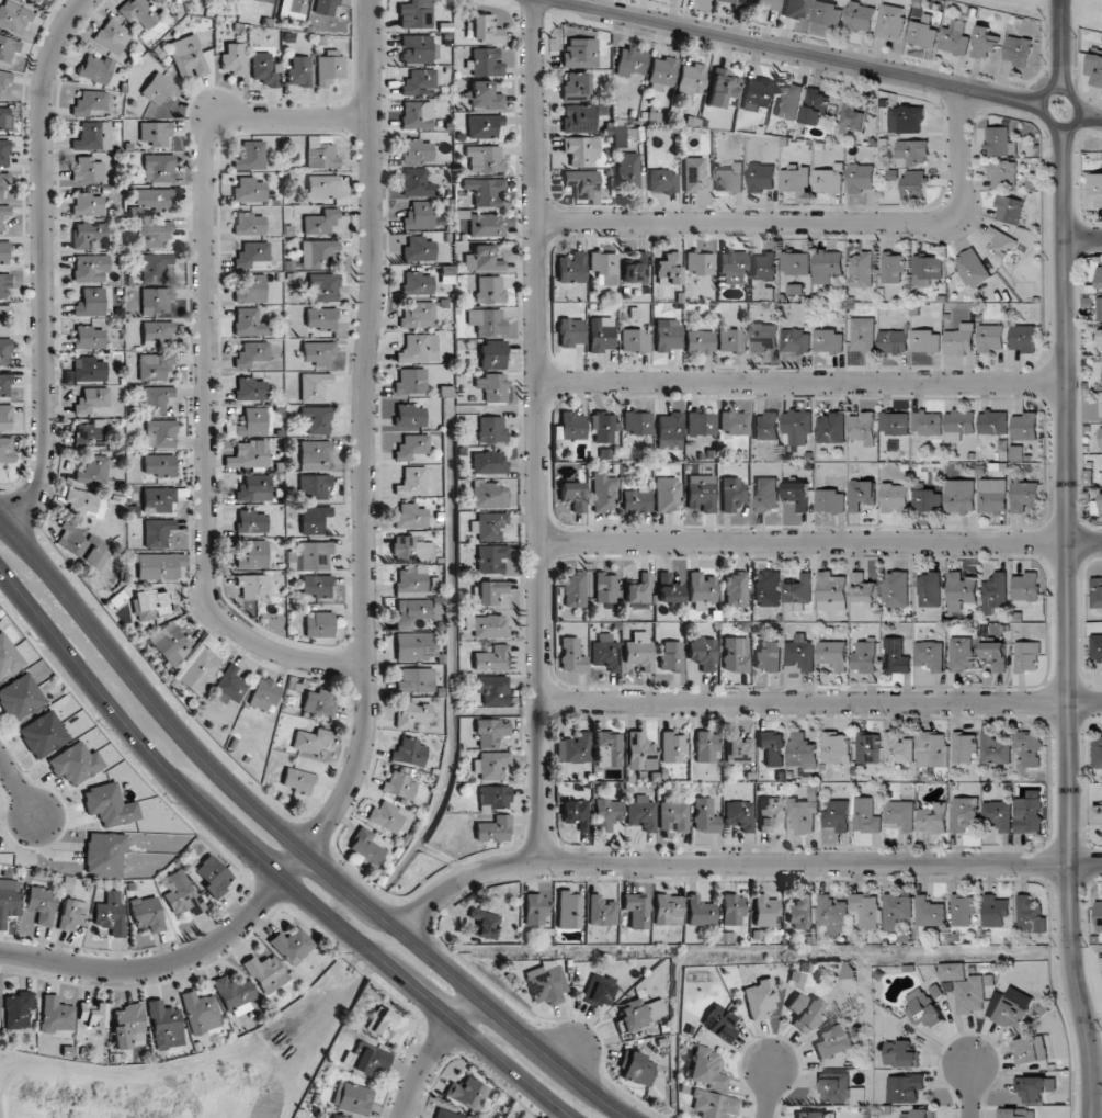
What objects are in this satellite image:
building: (151, 0)
building: (39, 1)
building: (265, 1)
building: (729, 1)
building: (765, 4)
building: (293, 5)
building: (325, 7)
building: (796, 9)
building: (138, 13)
building: (414, 14)
building: (827, 14)
building: (13, 16)
building: (861, 18)
building: (891, 22)
building: (485, 30)
building: (110, 36)
building: (954, 38)
building: (985, 42)
building: (8, 48)
building: (417, 48)
building: (579, 53)
road: (805, 55)
building: (188, 57)
building: (234, 58)
building: (629, 61)
building: (486, 63)
building: (95, 68)
building: (329, 68)
building: (264, 70)
building: (1095, 70)
building: (299, 71)
building: (661, 74)
building: (4, 78)
building: (691, 79)
building: (418, 81)
building: (576, 86)
building: (722, 87)
building: (159, 89)
building: (756, 93)
building: (484, 95)
building: (788, 101)
building: (90, 104)
building: (815, 106)
road: (1081, 110)
building: (416, 114)
building: (852, 117)
building: (578, 118)
building: (4, 120)
building: (907, 120)
building: (482, 126)
building: (155, 133)
building: (93, 136)
building: (617, 136)
building: (1001, 142)
building: (417, 150)
building: (580, 150)
building: (3, 153)
building: (320, 153)
building: (912, 153)
building: (250, 156)
building: (484, 159)
building: (158, 167)
building: (627, 169)
building: (88, 170)
building: (693, 173)
building: (1003, 173)
building: (861, 177)
building: (761, 178)
building: (729, 179)
building: (829, 180)
building: (662, 181)
building: (795, 181)
building: (3, 182)
building: (416, 182)
building: (581, 184)
building: (914, 184)
building: (322, 187)
building: (1095, 189)
building: (248, 190)
building: (484, 191)
building: (154, 199)
building: (87, 204)
building: (1009, 210)
building: (3, 213)
building: (419, 215)
building: (320, 223)
road: (809, 223)
building: (249, 224)
building: (485, 225)
building: (87, 234)
building: (154, 234)
road: (1083, 239)
building: (1001, 245)
building: (419, 249)
building: (3, 251)
building: (318, 253)
building: (252, 256)
building: (481, 259)
building: (796, 262)
road: (43, 263)
building: (698, 263)
building: (828, 266)
building: (157, 267)
building: (603, 267)
building: (731, 267)
building: (763, 267)
building: (894, 267)
building: (90, 268)
building: (570, 268)
building: (973, 268)
building: (668, 269)
building: (862, 269)
building: (635, 270)
building: (928, 270)
building: (1100, 276)
building: (418, 283)
building: (4, 286)
building: (250, 287)
building: (322, 287)
building: (489, 290)
building: (155, 301)
building: (90, 302)
building: (1100, 308)
building: (4, 314)
building: (417, 315)
building: (320, 318)
building: (486, 321)
building: (249, 323)
building: (156, 331)
building: (570, 332)
building: (601, 334)
building: (863, 335)
building: (88, 337)
building: (764, 337)
building: (1101, 337)
building: (990, 338)
building: (1023, 338)
building: (666, 339)
building: (634, 340)
building: (731, 340)
building: (795, 340)
building: (698, 341)
building: (829, 341)
building: (893, 341)
building: (925, 341)
building: (958, 341)
building: (418, 348)
building: (4, 352)
building: (318, 353)
building: (252, 354)
building: (491, 354)
building: (155, 366)
building: (88, 369)
road: (206, 371)
building: (410, 381)
road: (802, 383)
building: (4, 385)
building: (314, 386)
building: (491, 386)
building: (250, 388)
building: (446, 391)
building: (91, 399)
building: (156, 399)
building: (1101, 405)
building: (409, 415)
building: (4, 417)
building: (316, 419)
building: (252, 422)
building: (636, 422)
building: (734, 422)
building: (894, 422)
building: (927, 422)
building: (992, 422)
building: (701, 424)
building: (958, 425)
building: (570, 426)
building: (765, 426)
building: (797, 426)
building: (1024, 426)
building: (601, 427)
building: (669, 427)
building: (831, 428)
building: (490, 429)
building: (862, 429)
road: (537, 430)
road: (364, 432)
building: (90, 433)
building: (160, 433)
building: (1101, 437)
building: (412, 448)
building: (5, 449)
building: (1016, 453)
building: (248, 454)
building: (316, 455)
building: (488, 462)
building: (160, 465)
building: (92, 471)
building: (411, 482)
building: (314, 486)
building: (253, 488)
building: (604, 492)
building: (701, 493)
building: (667, 494)
building: (731, 494)
building: (765, 494)
building: (861, 494)
building: (488, 495)
building: (572, 495)
building: (797, 495)
building: (959, 496)
building: (992, 496)
building: (1025, 497)
building: (159, 498)
building: (895, 498)
building: (925, 499)
building: (636, 500)
building: (830, 500)
building: (86, 502)
building: (1101, 515)
building: (410, 517)
building: (314, 519)
building: (252, 521)
building: (488, 526)
building: (157, 532)
road: (802, 542)
road: (1083, 542)
building: (81, 545)
building: (411, 550)
building: (253, 555)
building: (311, 556)
building: (490, 558)
road: (1066, 560)
building: (159, 566)
building: (410, 579)
building: (252, 585)
building: (316, 585)
building: (604, 587)
building: (1026, 587)
building: (573, 589)
building: (668, 589)
building: (701, 589)
building: (735, 589)
building: (768, 589)
building: (863, 589)
building: (895, 589)
building: (929, 590)
building: (961, 590)
building: (489, 591)
building: (831, 591)
building: (1097, 591)
building: (637, 592)
building: (993, 592)
building: (798, 595)
building: (151, 605)
building: (416, 611)
building: (319, 624)
building: (486, 625)
building: (170, 644)
building: (1097, 645)
building: (416, 646)
building: (639, 651)
building: (605, 653)
building: (703, 653)
building: (799, 653)
building: (735, 654)
building: (832, 654)
building: (961, 654)
building: (571, 655)
building: (930, 655)
building: (995, 655)
building: (671, 656)
building: (768, 656)
building: (864, 656)
building: (895, 656)
building: (1026, 656)
building: (8, 657)
building: (490, 658)
building: (197, 669)
building: (416, 680)
building: (228, 686)
building: (491, 689)
road: (146, 693)
building: (263, 694)
building: (20, 698)
building: (319, 702)
road: (820, 703)
building: (411, 713)
building: (490, 732)
building: (43, 734)
building: (310, 741)
building: (705, 746)
building: (673, 747)
building: (836, 747)
building: (868, 747)
building: (965, 747)
building: (1030, 747)
building: (573, 748)
building: (738, 748)
building: (771, 748)
building: (898, 748)
building: (609, 749)
building: (933, 749)
building: (996, 749)
building: (802, 750)
building: (640, 752)
building: (1098, 752)
building: (409, 753)
building: (75, 763)
building: (490, 765)
building: (297, 780)
building: (399, 786)
road: (18, 787)
building: (492, 798)
building: (109, 805)
building: (1029, 811)
building: (640, 812)
building: (576, 813)
building: (606, 813)
building: (672, 813)
building: (770, 813)
building: (900, 814)
building: (964, 814)
building: (1098, 814)
building: (739, 815)
building: (803, 815)
building: (837, 815)
building: (866, 815)
building: (998, 815)
building: (389, 816)
building: (933, 818)
building: (703, 821)
building: (492, 828)
building: (365, 846)
building: (104, 854)
road: (266, 862)
road: (1086, 863)
road: (724, 865)
building: (213, 876)
building: (182, 895)
building: (9, 900)
building: (41, 904)
building: (535, 910)
building: (569, 910)
building: (668, 910)
building: (732, 910)
building: (865, 910)
building: (896, 910)
building: (963, 910)
building: (601, 911)
building: (765, 911)
building: (995, 911)
building: (634, 912)
building: (700, 912)
building: (930, 912)
building: (800, 913)
building: (831, 913)
building: (71, 914)
building: (110, 914)
building: (148, 914)
building: (1030, 914)
building: (485, 924)
building: (292, 946)
road: (174, 963)
building: (848, 968)
building: (954, 971)
building: (265, 972)
building: (544, 982)
road: (467, 986)
building: (599, 990)
building: (235, 994)
building: (974, 994)
building: (759, 998)
building: (924, 1008)
building: (18, 1009)
building: (804, 1010)
building: (1011, 1010)
building: (201, 1012)
building: (640, 1013)
building: (92, 1014)
building: (56, 1015)
building: (718, 1023)
building: (127, 1025)
building: (164, 1025)
building: (388, 1026)
building: (832, 1041)
building: (1031, 1050)
road: (433, 1053)
building: (901, 1054)
building: (365, 1059)
building: (635, 1069)
building: (706, 1069)
building: (836, 1085)
building: (906, 1087)
building: (1035, 1087)
road: (970, 1091)
road: (769, 1092)
building: (466, 1093)
building: (352, 1097)
building: (713, 1105)
building: (1015, 1113)
building: (446, 1114)
building: (919, 1114)
building: (814, 1115)
building: (333, 1116)

